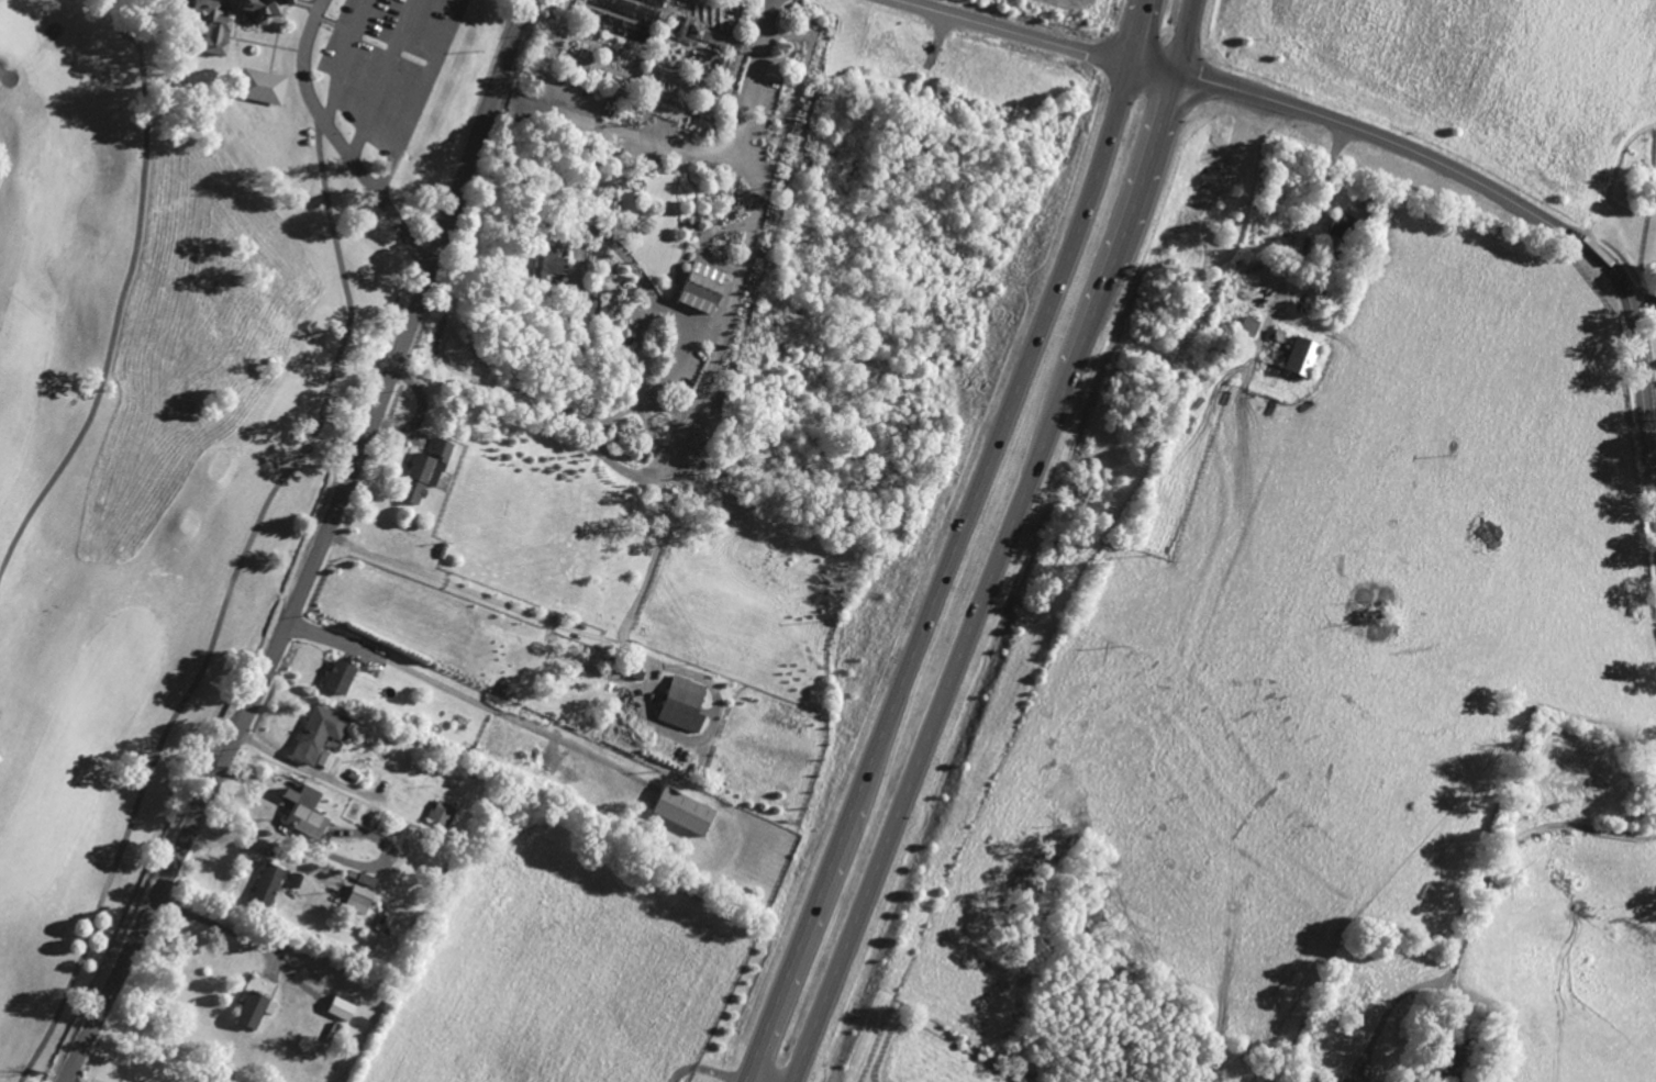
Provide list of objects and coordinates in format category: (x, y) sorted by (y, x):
building: (255, 9)
road: (1514, 9)
road: (1543, 25)
building: (205, 27)
parking lot: (381, 29)
road: (1016, 31)
building: (699, 35)
road: (938, 36)
road: (382, 78)
building: (257, 87)
road: (418, 96)
road: (1490, 97)
road: (338, 141)
road: (712, 149)
road: (1496, 191)
building: (1340, 227)
road: (743, 239)
building: (553, 264)
building: (698, 289)
road: (1642, 297)
building: (1297, 359)
park: (175, 394)
road: (607, 453)
building: (431, 471)
road: (1654, 475)
road: (954, 544)
road: (1002, 545)
road: (318, 551)
road: (475, 592)
building: (346, 678)
road: (466, 698)
building: (689, 705)
building: (324, 734)
road: (286, 759)
building: (689, 811)
building: (312, 813)
building: (446, 813)
building: (371, 880)
building: (273, 884)
building: (366, 899)
road: (1477, 899)
road: (222, 927)
building: (260, 1010)
road: (703, 1068)
road: (67, 1080)
building: (1343, 1080)
building: (1298, 1081)
building: (1307, 1081)

